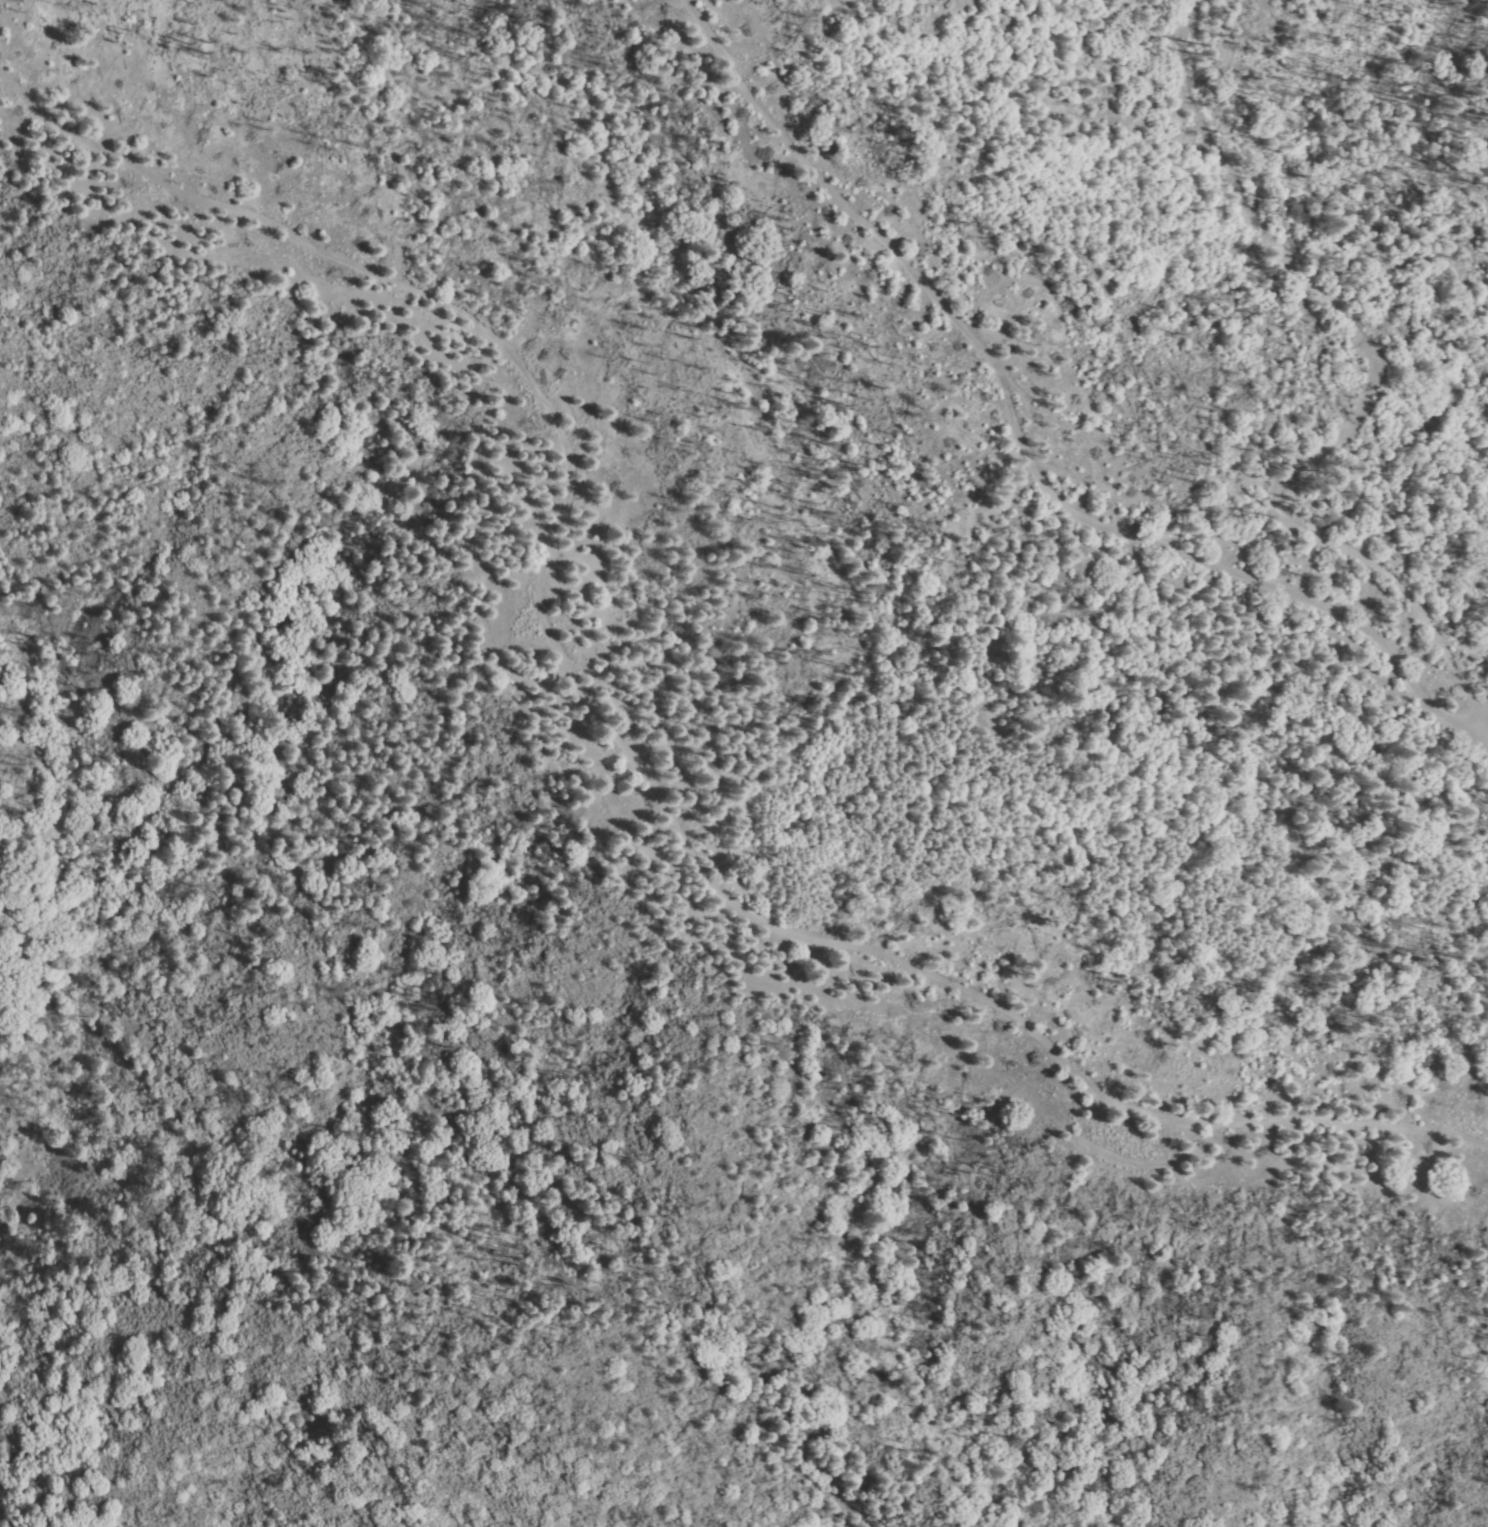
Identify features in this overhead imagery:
road: (1367, 386)
road: (1016, 435)
road: (1472, 485)
road: (1476, 713)
road: (1474, 736)
road: (616, 737)

